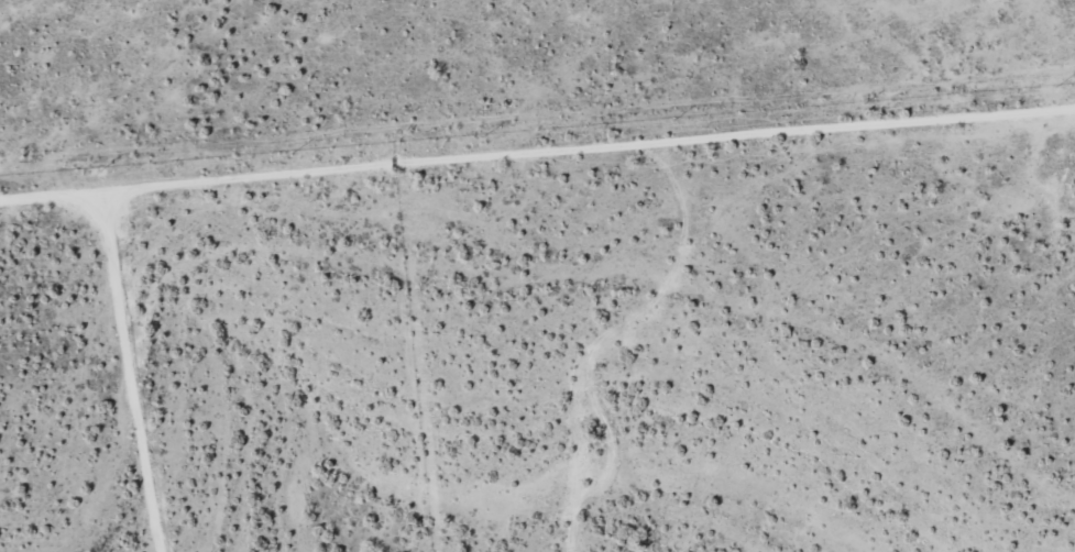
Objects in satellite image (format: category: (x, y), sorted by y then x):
road: (538, 104)
road: (629, 330)

